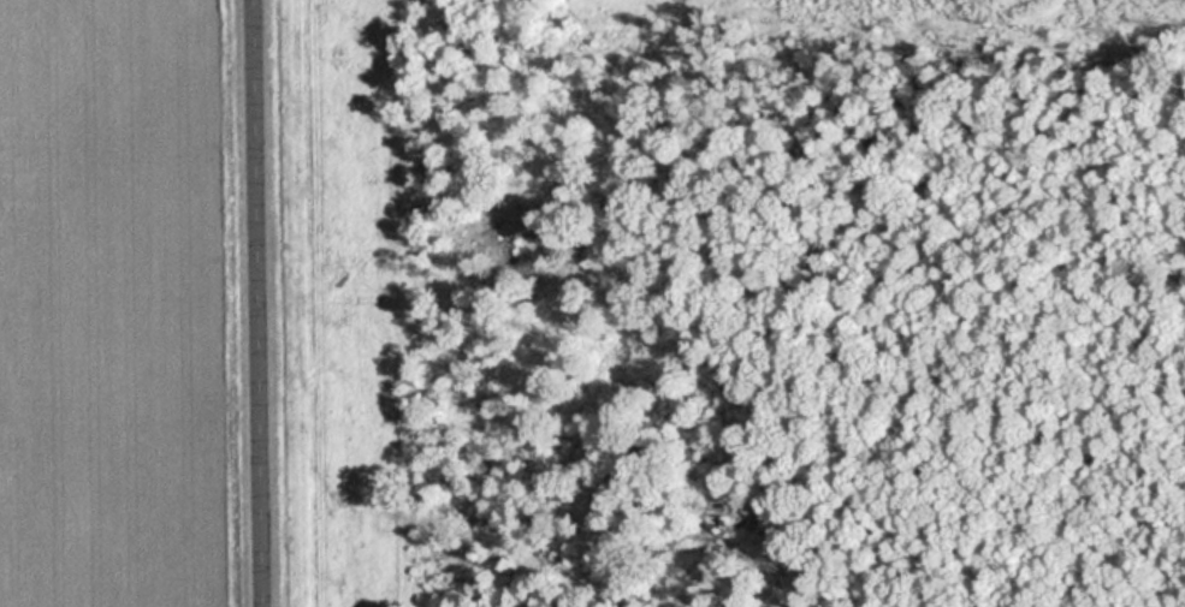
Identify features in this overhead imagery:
road: (269, 303)

